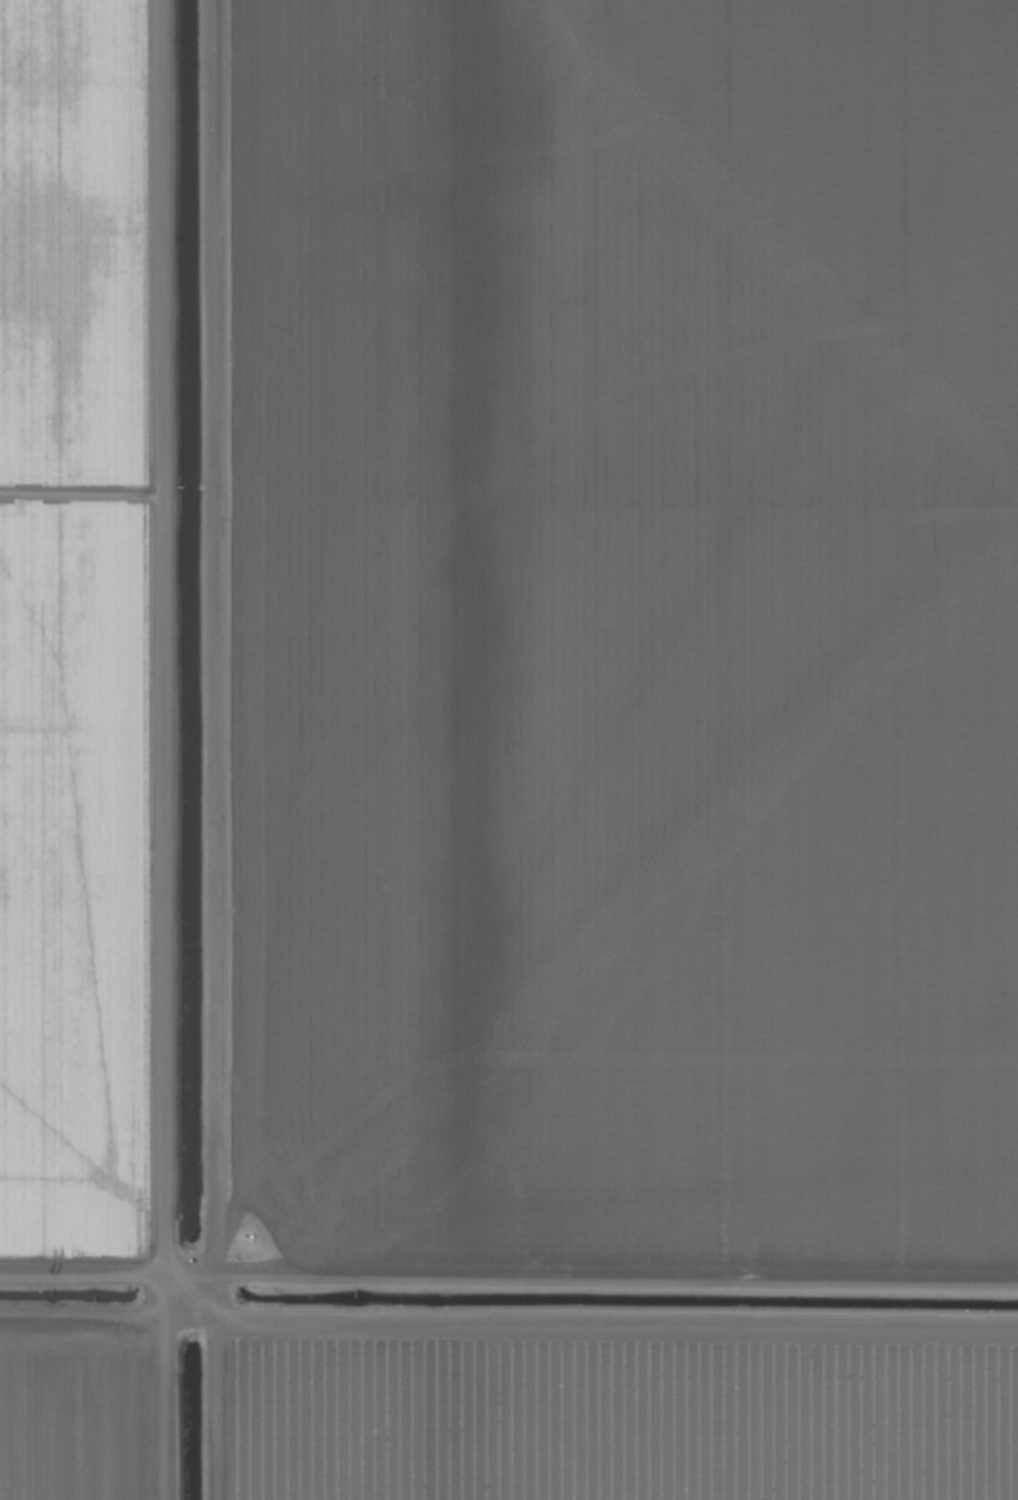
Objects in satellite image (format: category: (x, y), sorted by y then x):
road: (167, 750)
crop: (509, 750)
road: (508, 1291)

